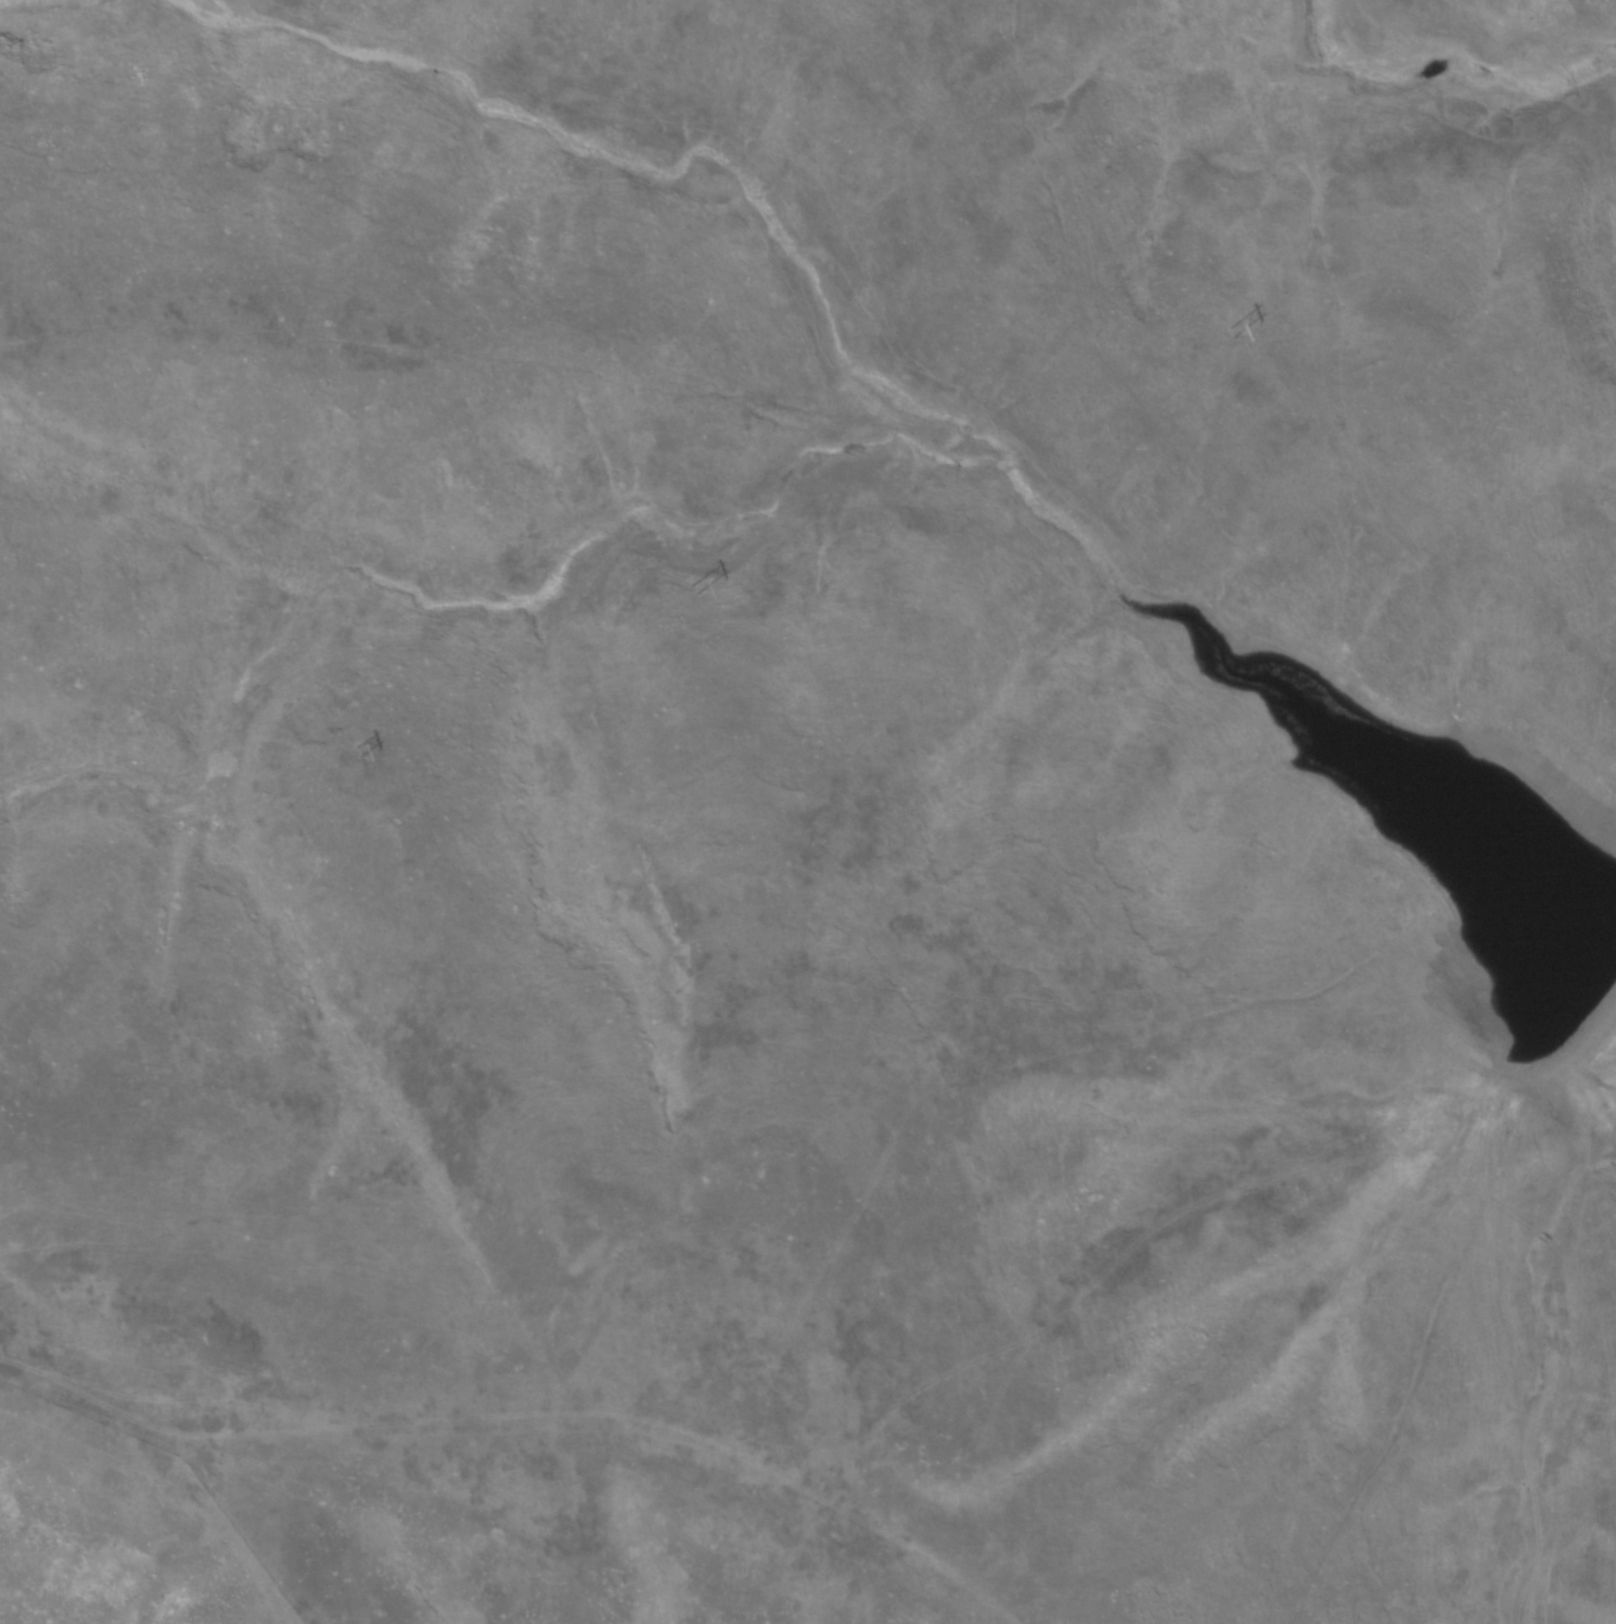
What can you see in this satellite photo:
power tower: (1229, 335)
power tower: (692, 591)
power tower: (355, 754)

